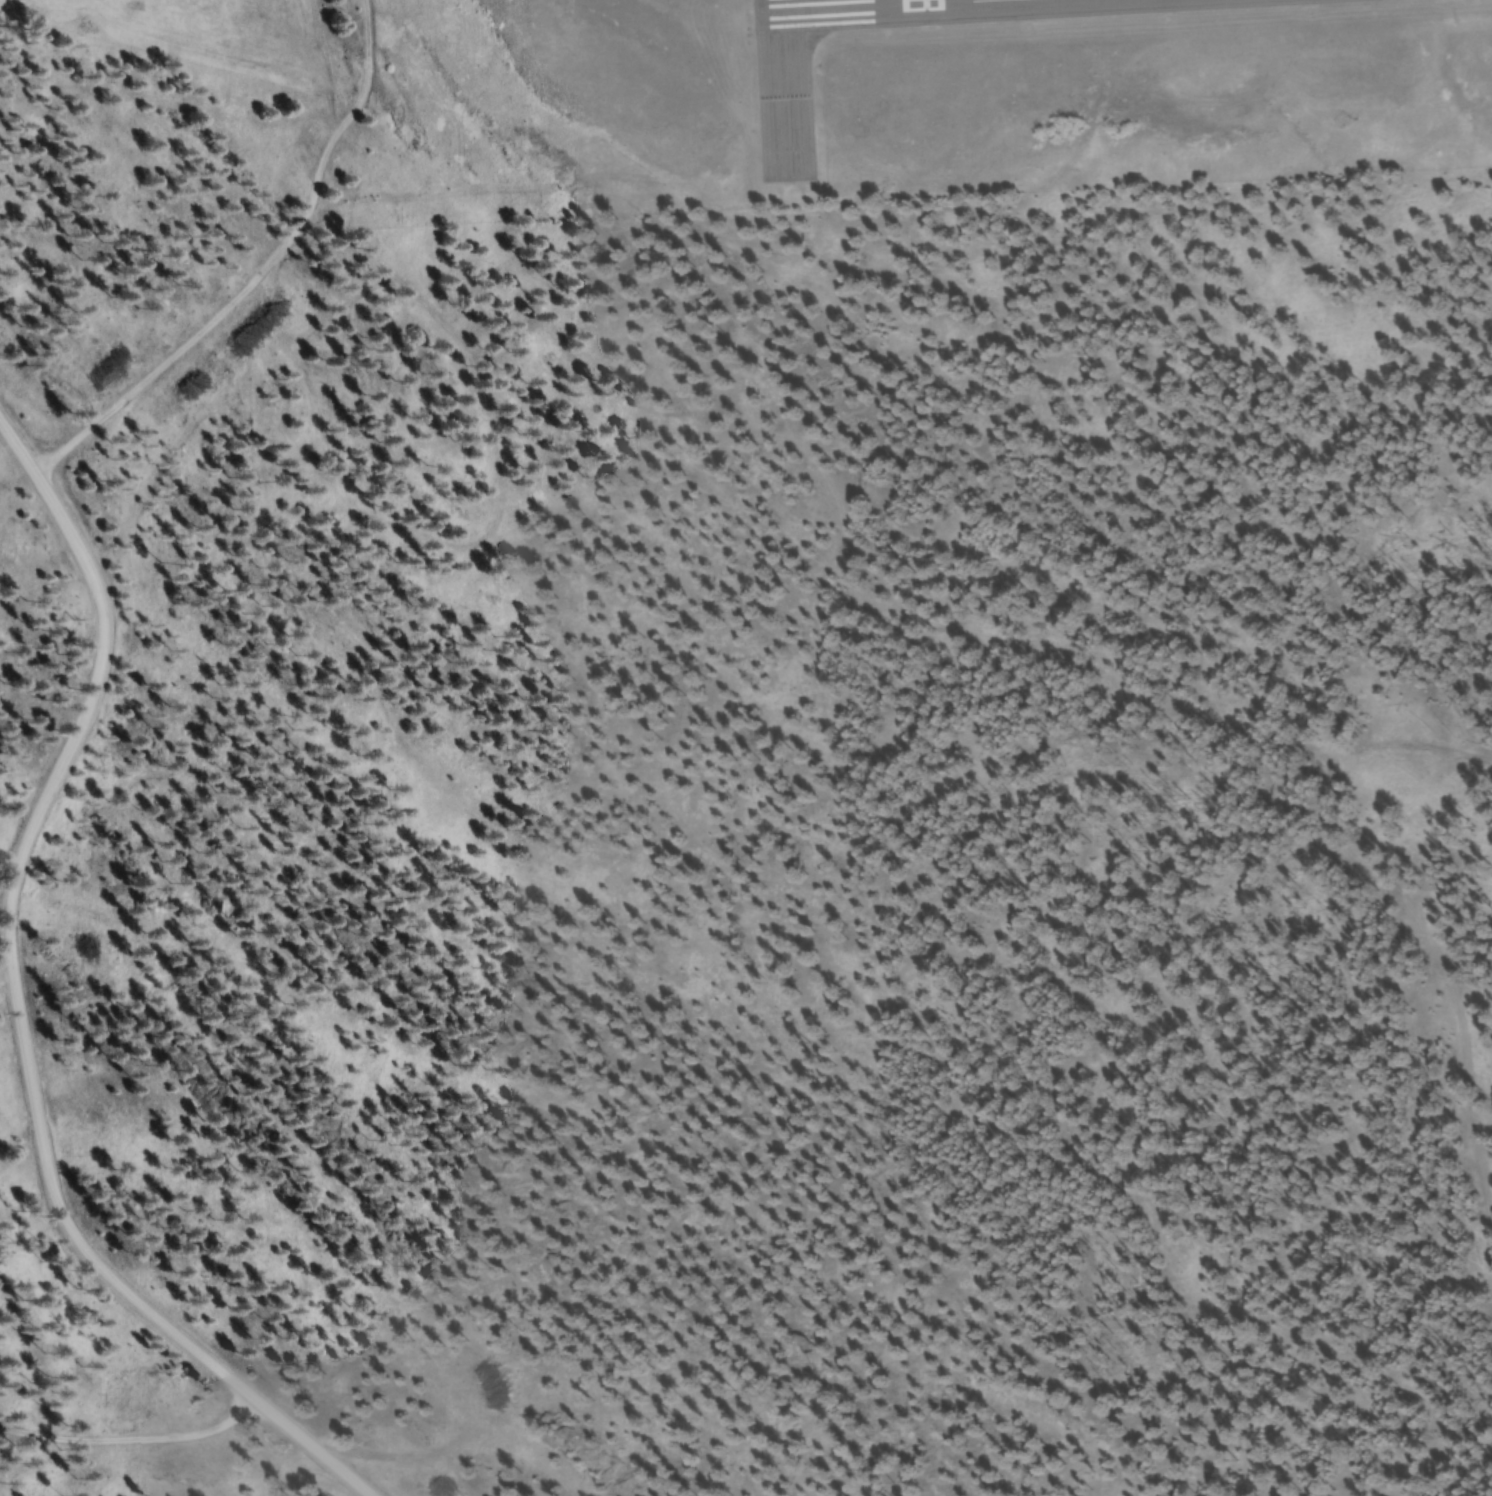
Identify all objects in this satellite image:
airport runway: (885, 7)
airport: (1035, 95)
road: (253, 271)
road: (16, 1014)
road: (129, 1435)

